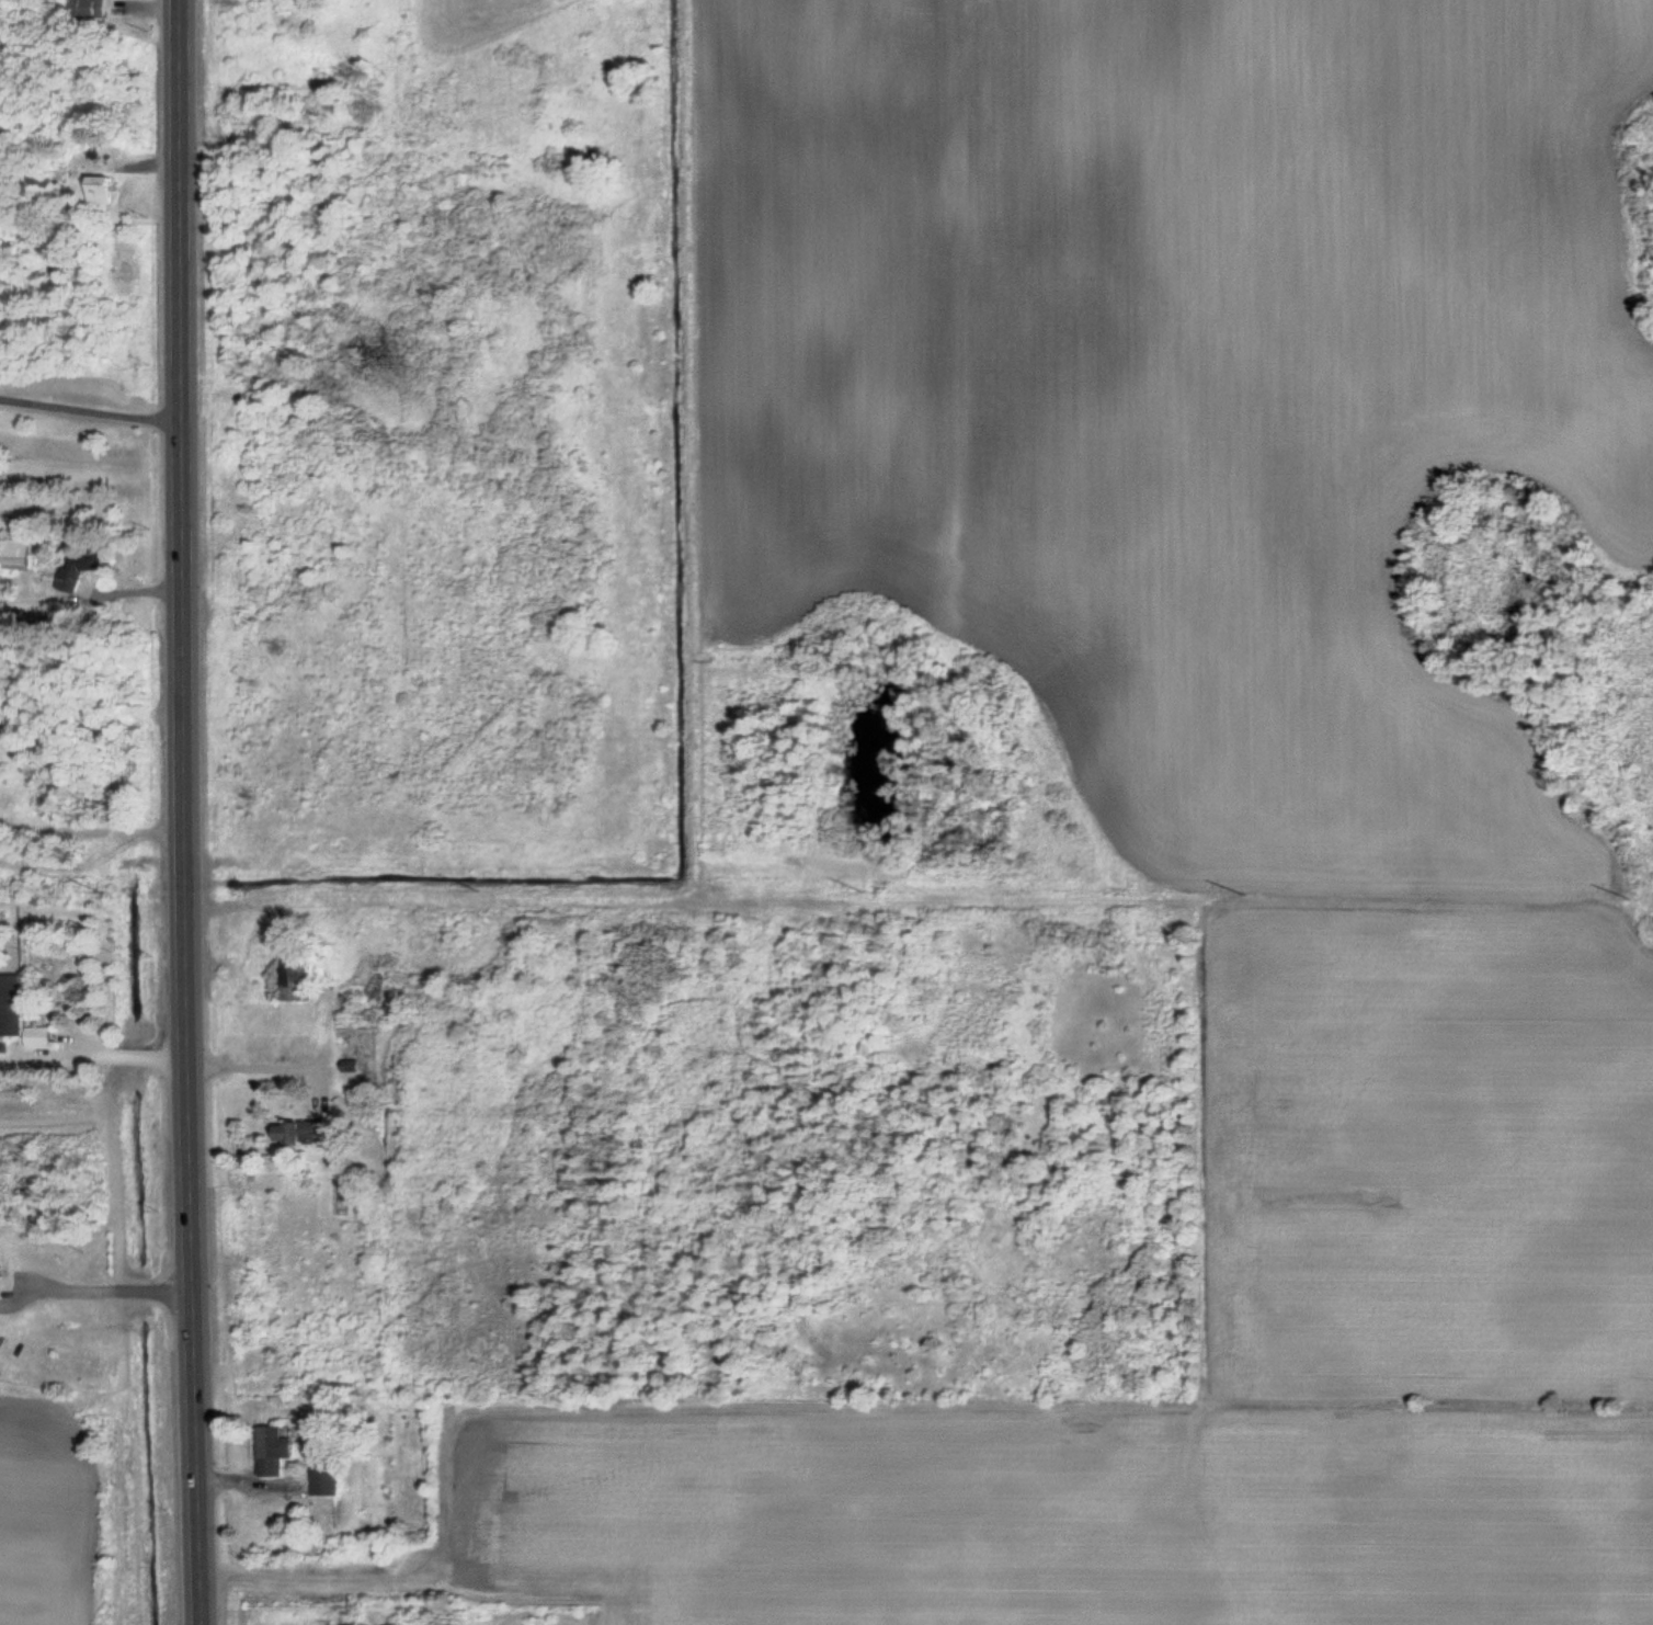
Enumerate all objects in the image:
building: (93, 11)
building: (107, 190)
building: (20, 553)
building: (101, 562)
road: (187, 813)
building: (309, 977)
building: (25, 1012)
building: (304, 1130)
building: (278, 1448)
building: (328, 1477)

